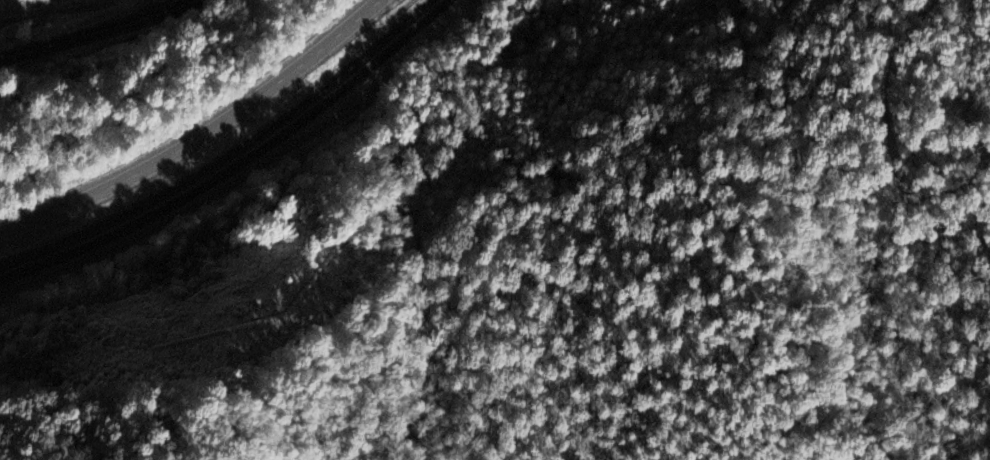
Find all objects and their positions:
road: (98, 30)
road: (200, 135)
road: (236, 162)
power tower: (476, 180)
power tower: (295, 291)
power tower: (74, 348)

